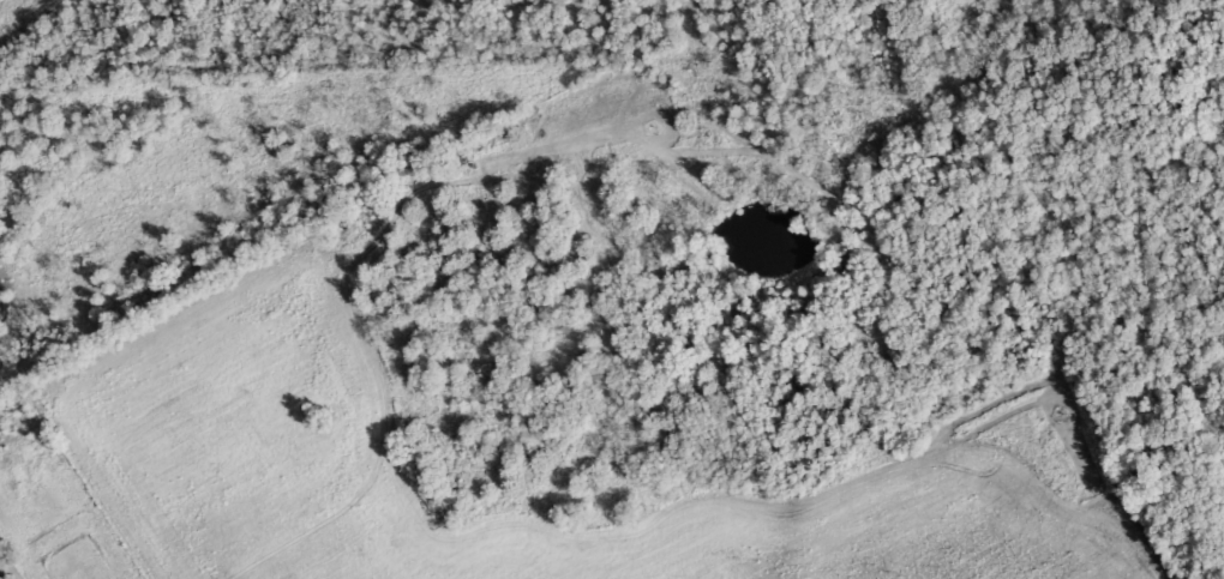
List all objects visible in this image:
park: (7, 563)

